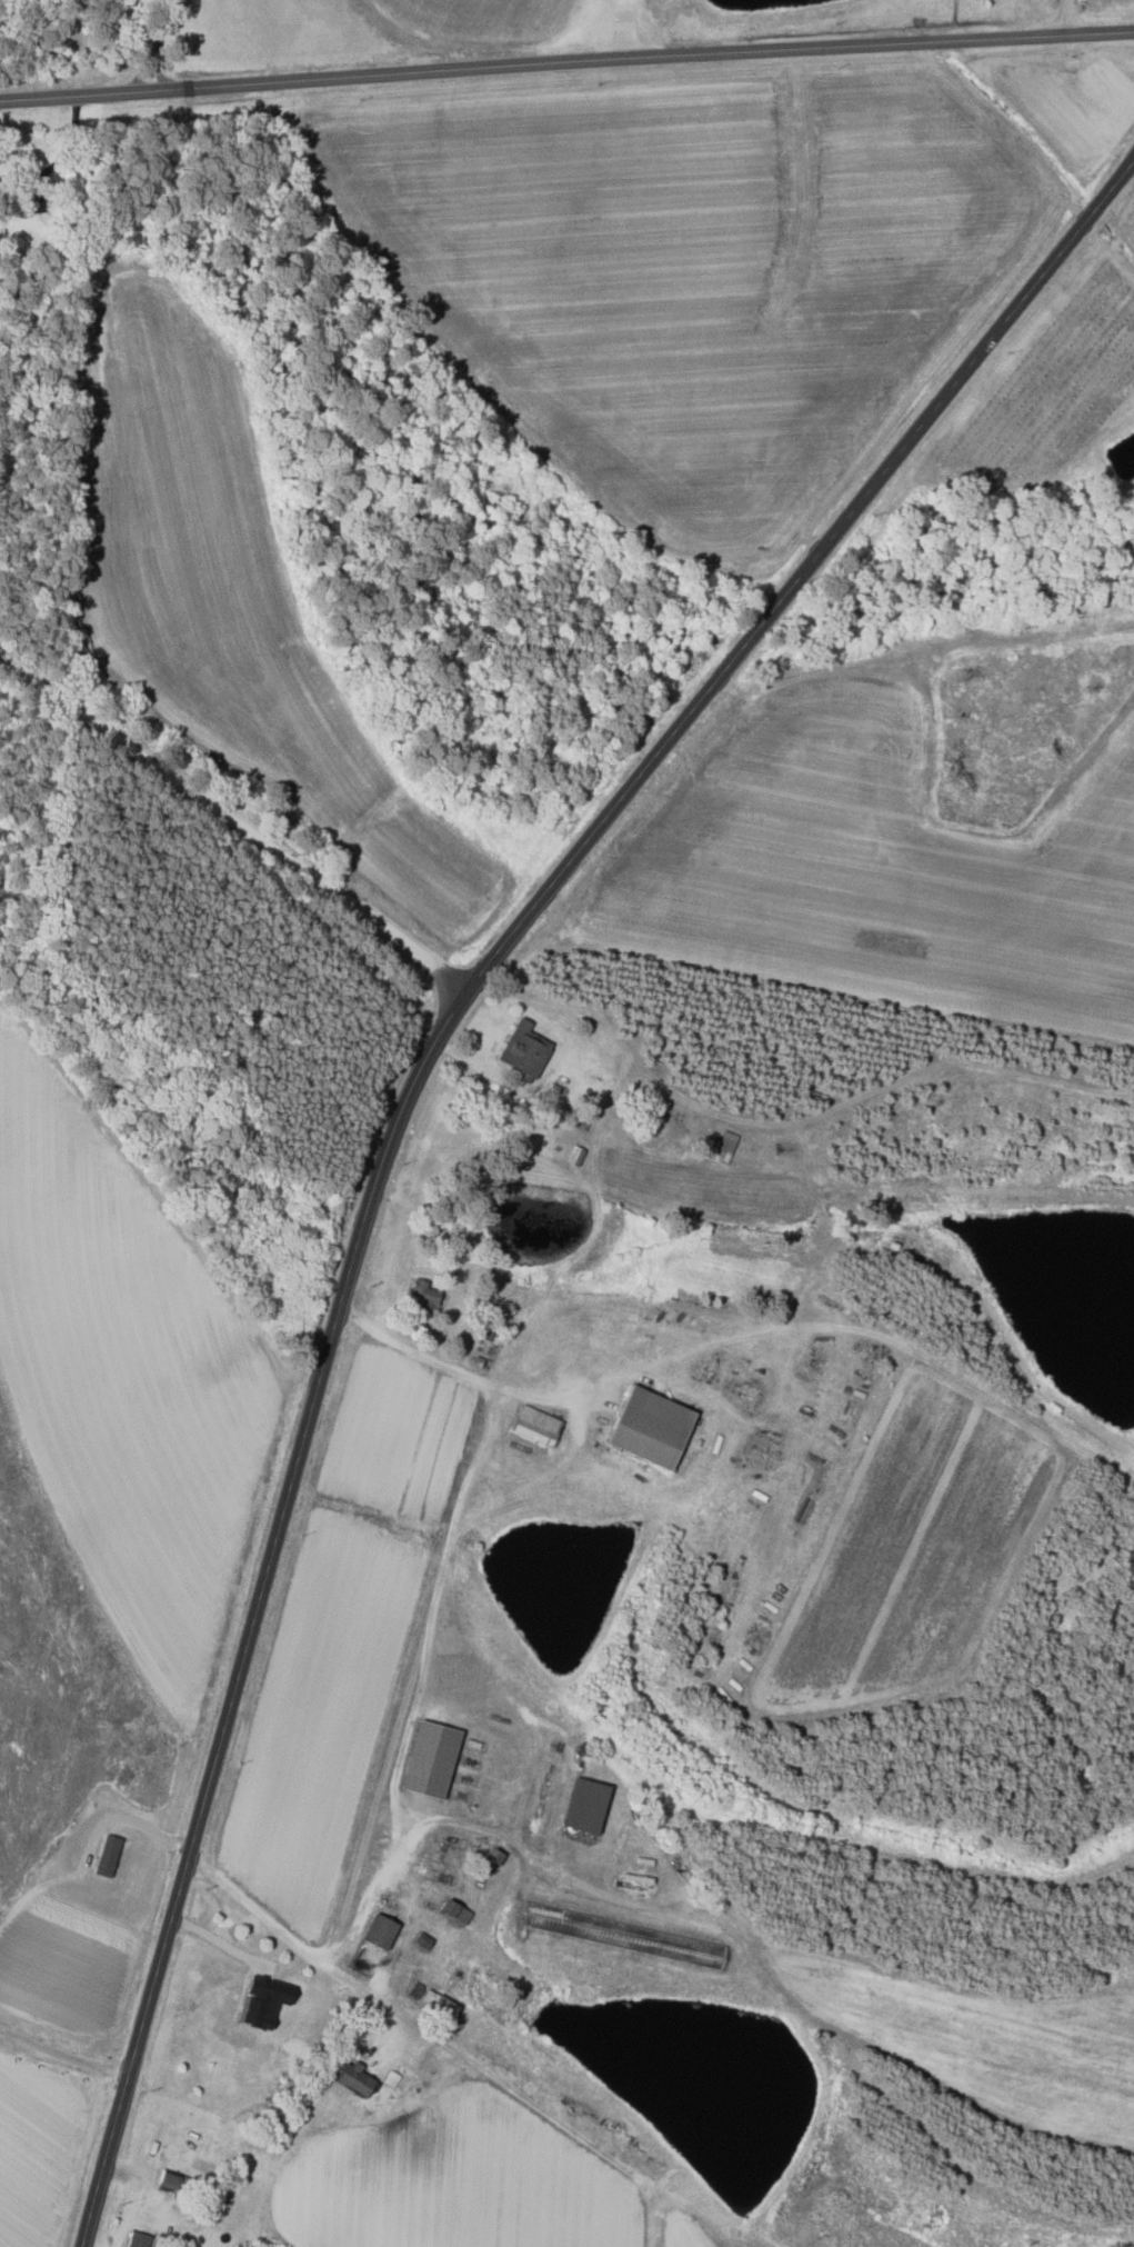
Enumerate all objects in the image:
road: (1067, 19)
road: (157, 46)
road: (566, 63)
road: (59, 159)
road: (235, 825)
building: (528, 1049)
road: (405, 1101)
building: (727, 1147)
building: (424, 1294)
road: (468, 1362)
building: (540, 1425)
building: (654, 1425)
road: (434, 1607)
building: (434, 1758)
building: (588, 1809)
road: (33, 1885)
road: (373, 1897)
building: (459, 1909)
building: (383, 1930)
building: (693, 1949)
building: (418, 1989)
building: (441, 2004)
building: (235, 2019)
road: (63, 2054)
building: (354, 2077)
building: (172, 2179)
building: (141, 2239)

